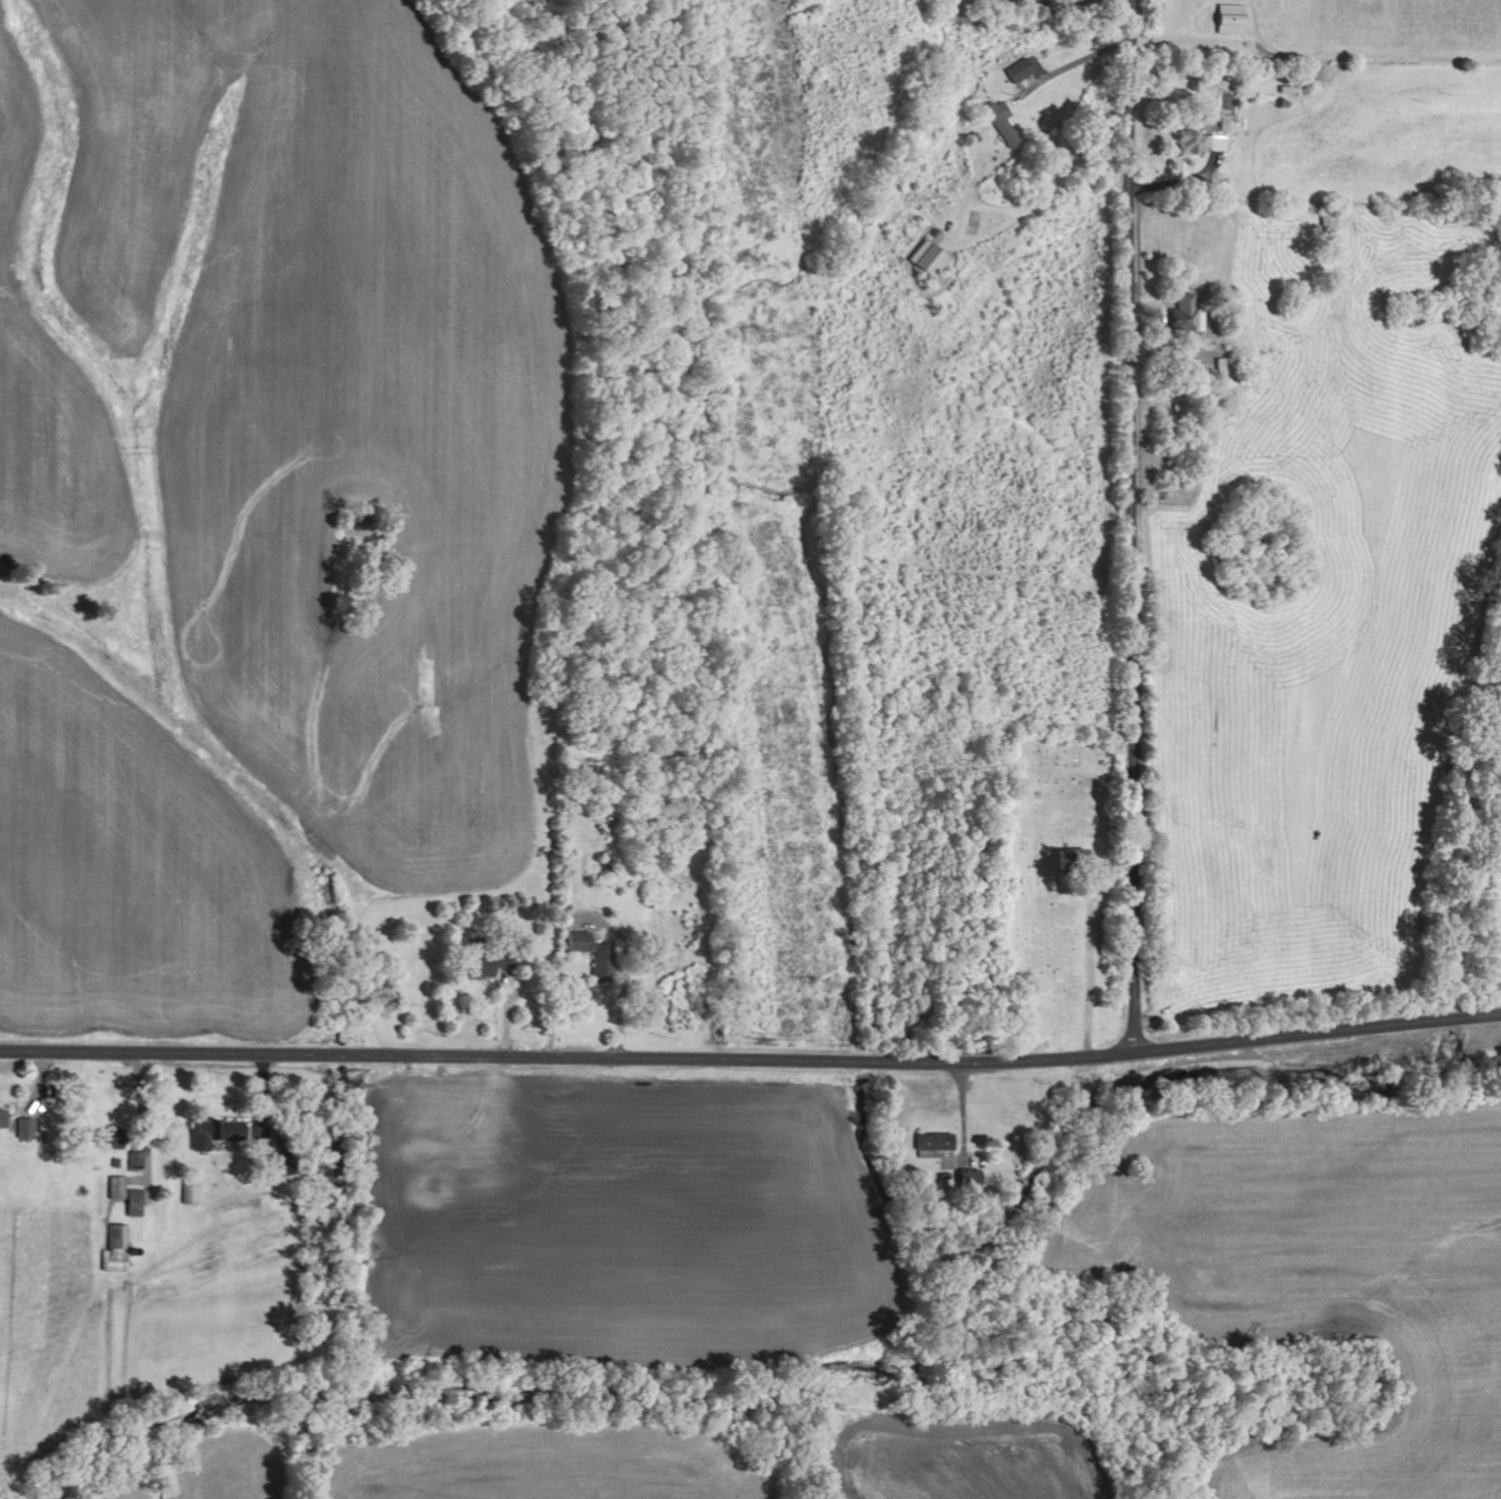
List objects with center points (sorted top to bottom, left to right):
building: (1227, 20)
building: (1016, 72)
building: (1246, 89)
building: (1198, 143)
building: (1325, 226)
building: (1179, 317)
power tower: (769, 334)
road: (1132, 525)
building: (1065, 857)
park: (1057, 885)
building: (573, 942)
building: (472, 971)
power tower: (824, 988)
road: (1318, 1031)
road: (568, 1057)
building: (4, 1121)
building: (30, 1130)
building: (208, 1134)
building: (930, 1142)
building: (962, 1179)
building: (113, 1185)

